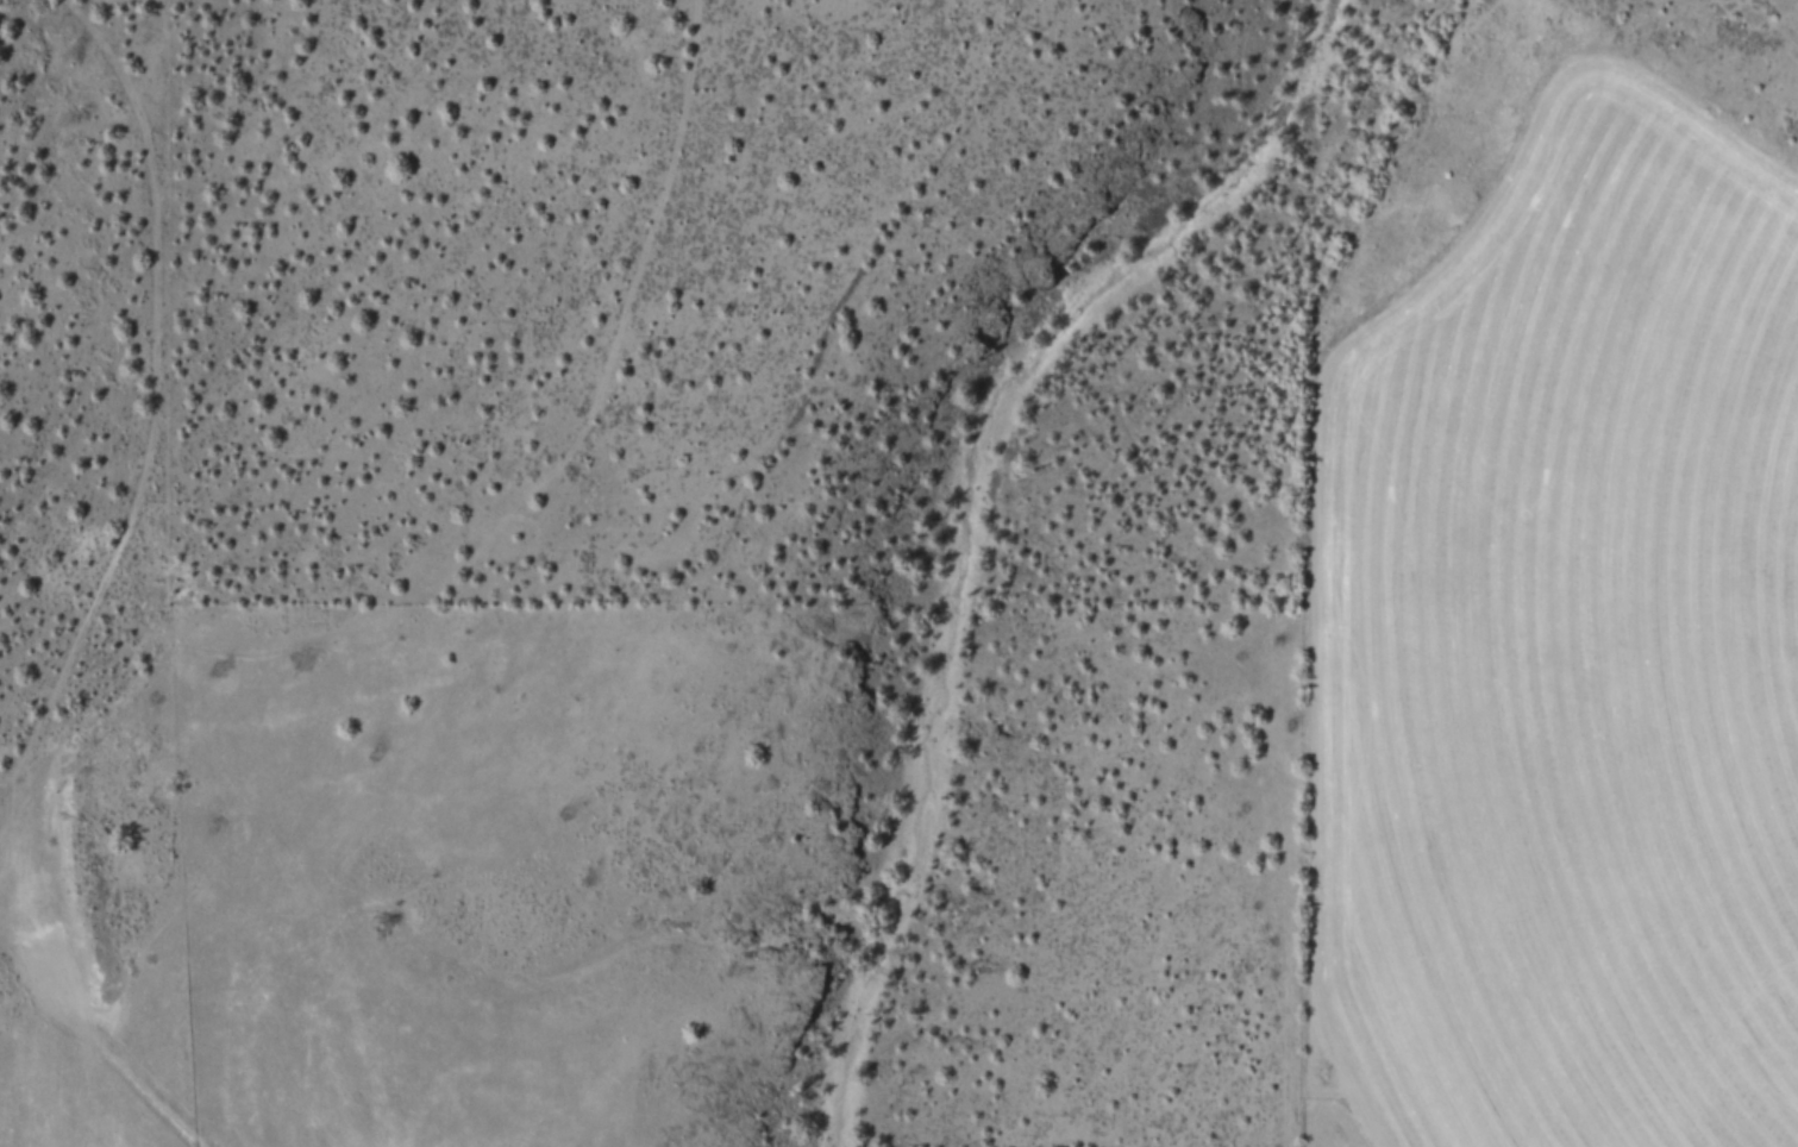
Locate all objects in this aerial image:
crop: (1570, 572)

